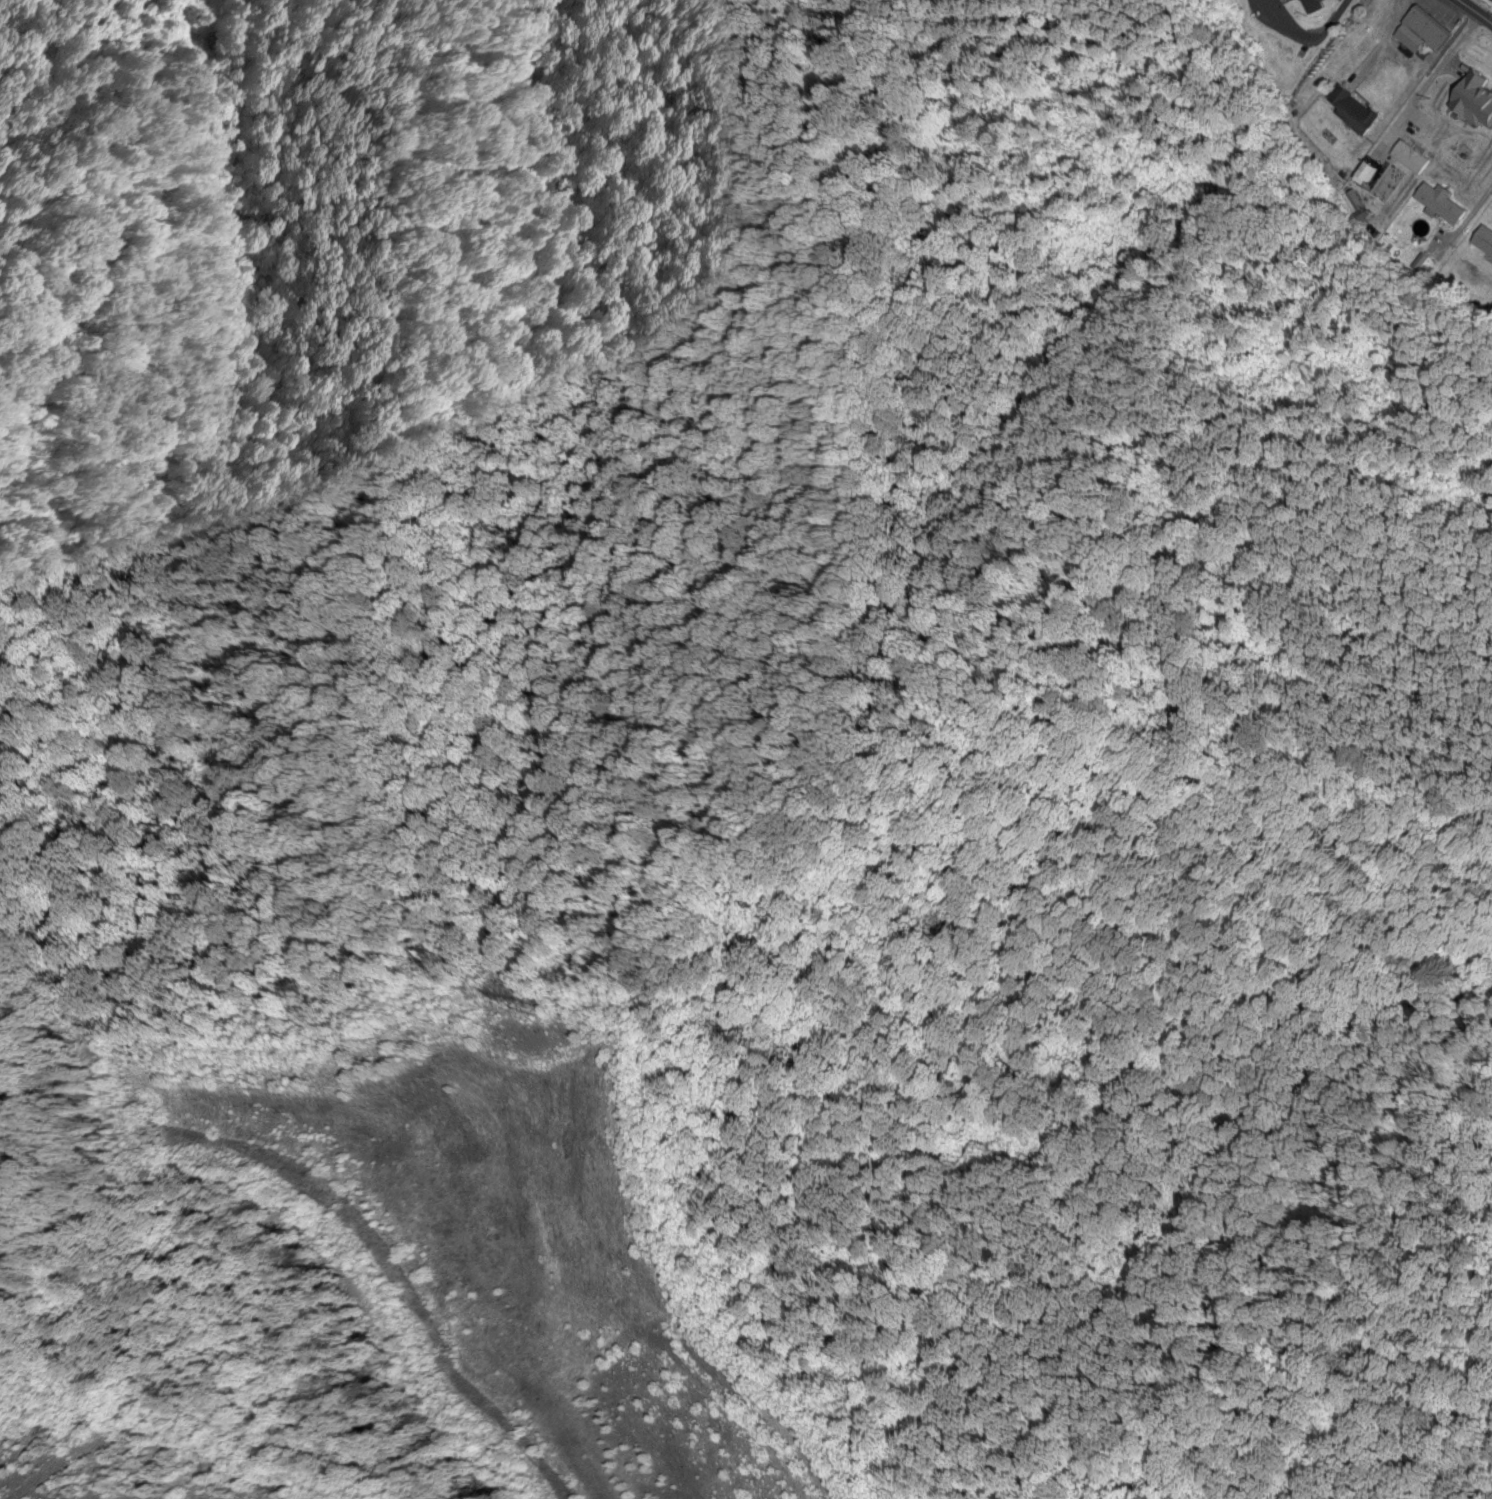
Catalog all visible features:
building: (1309, 6)
road: (671, 19)
road: (1464, 20)
road: (1332, 21)
building: (1419, 33)
road: (1426, 82)
building: (1473, 102)
building: (1350, 112)
building: (1408, 158)
building: (1364, 175)
building: (1437, 204)
road: (1478, 205)
building: (1483, 241)
quarry: (449, 1240)
quarry: (130, 1446)

